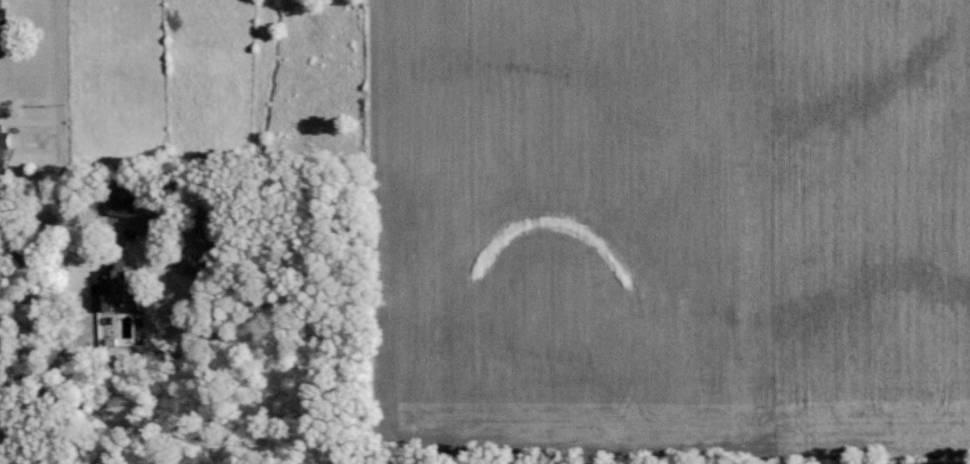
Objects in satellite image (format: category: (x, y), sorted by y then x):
building: (5, 21)
building: (4, 147)
road: (57, 170)
building: (124, 207)
building: (111, 290)
road: (2, 446)

